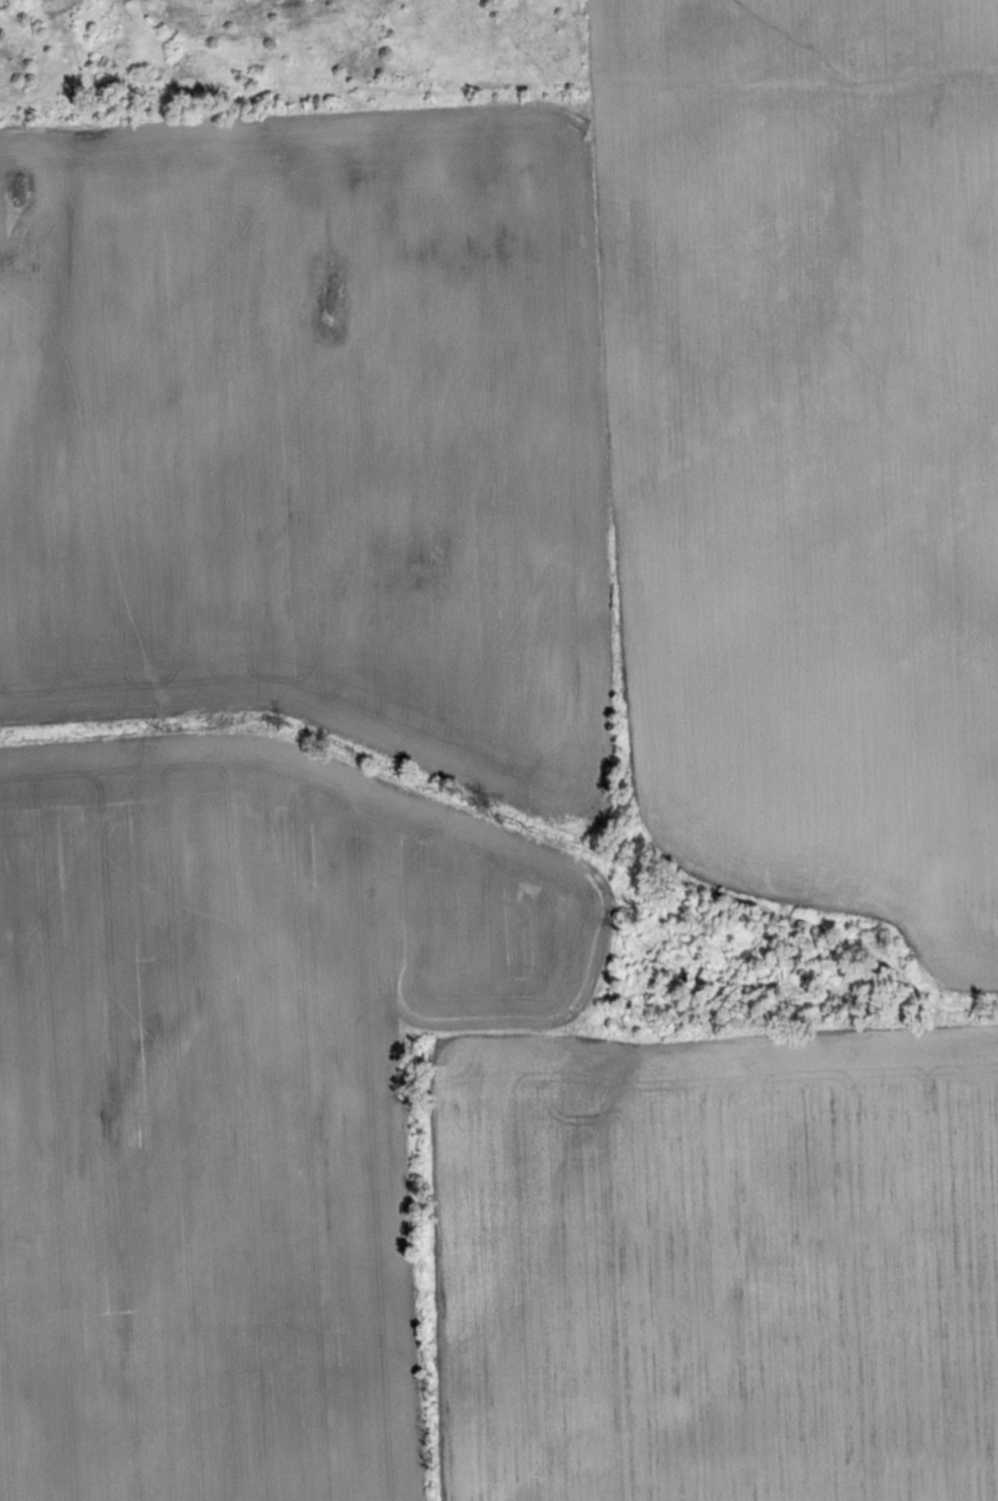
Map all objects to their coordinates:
crop: (548, 423)

